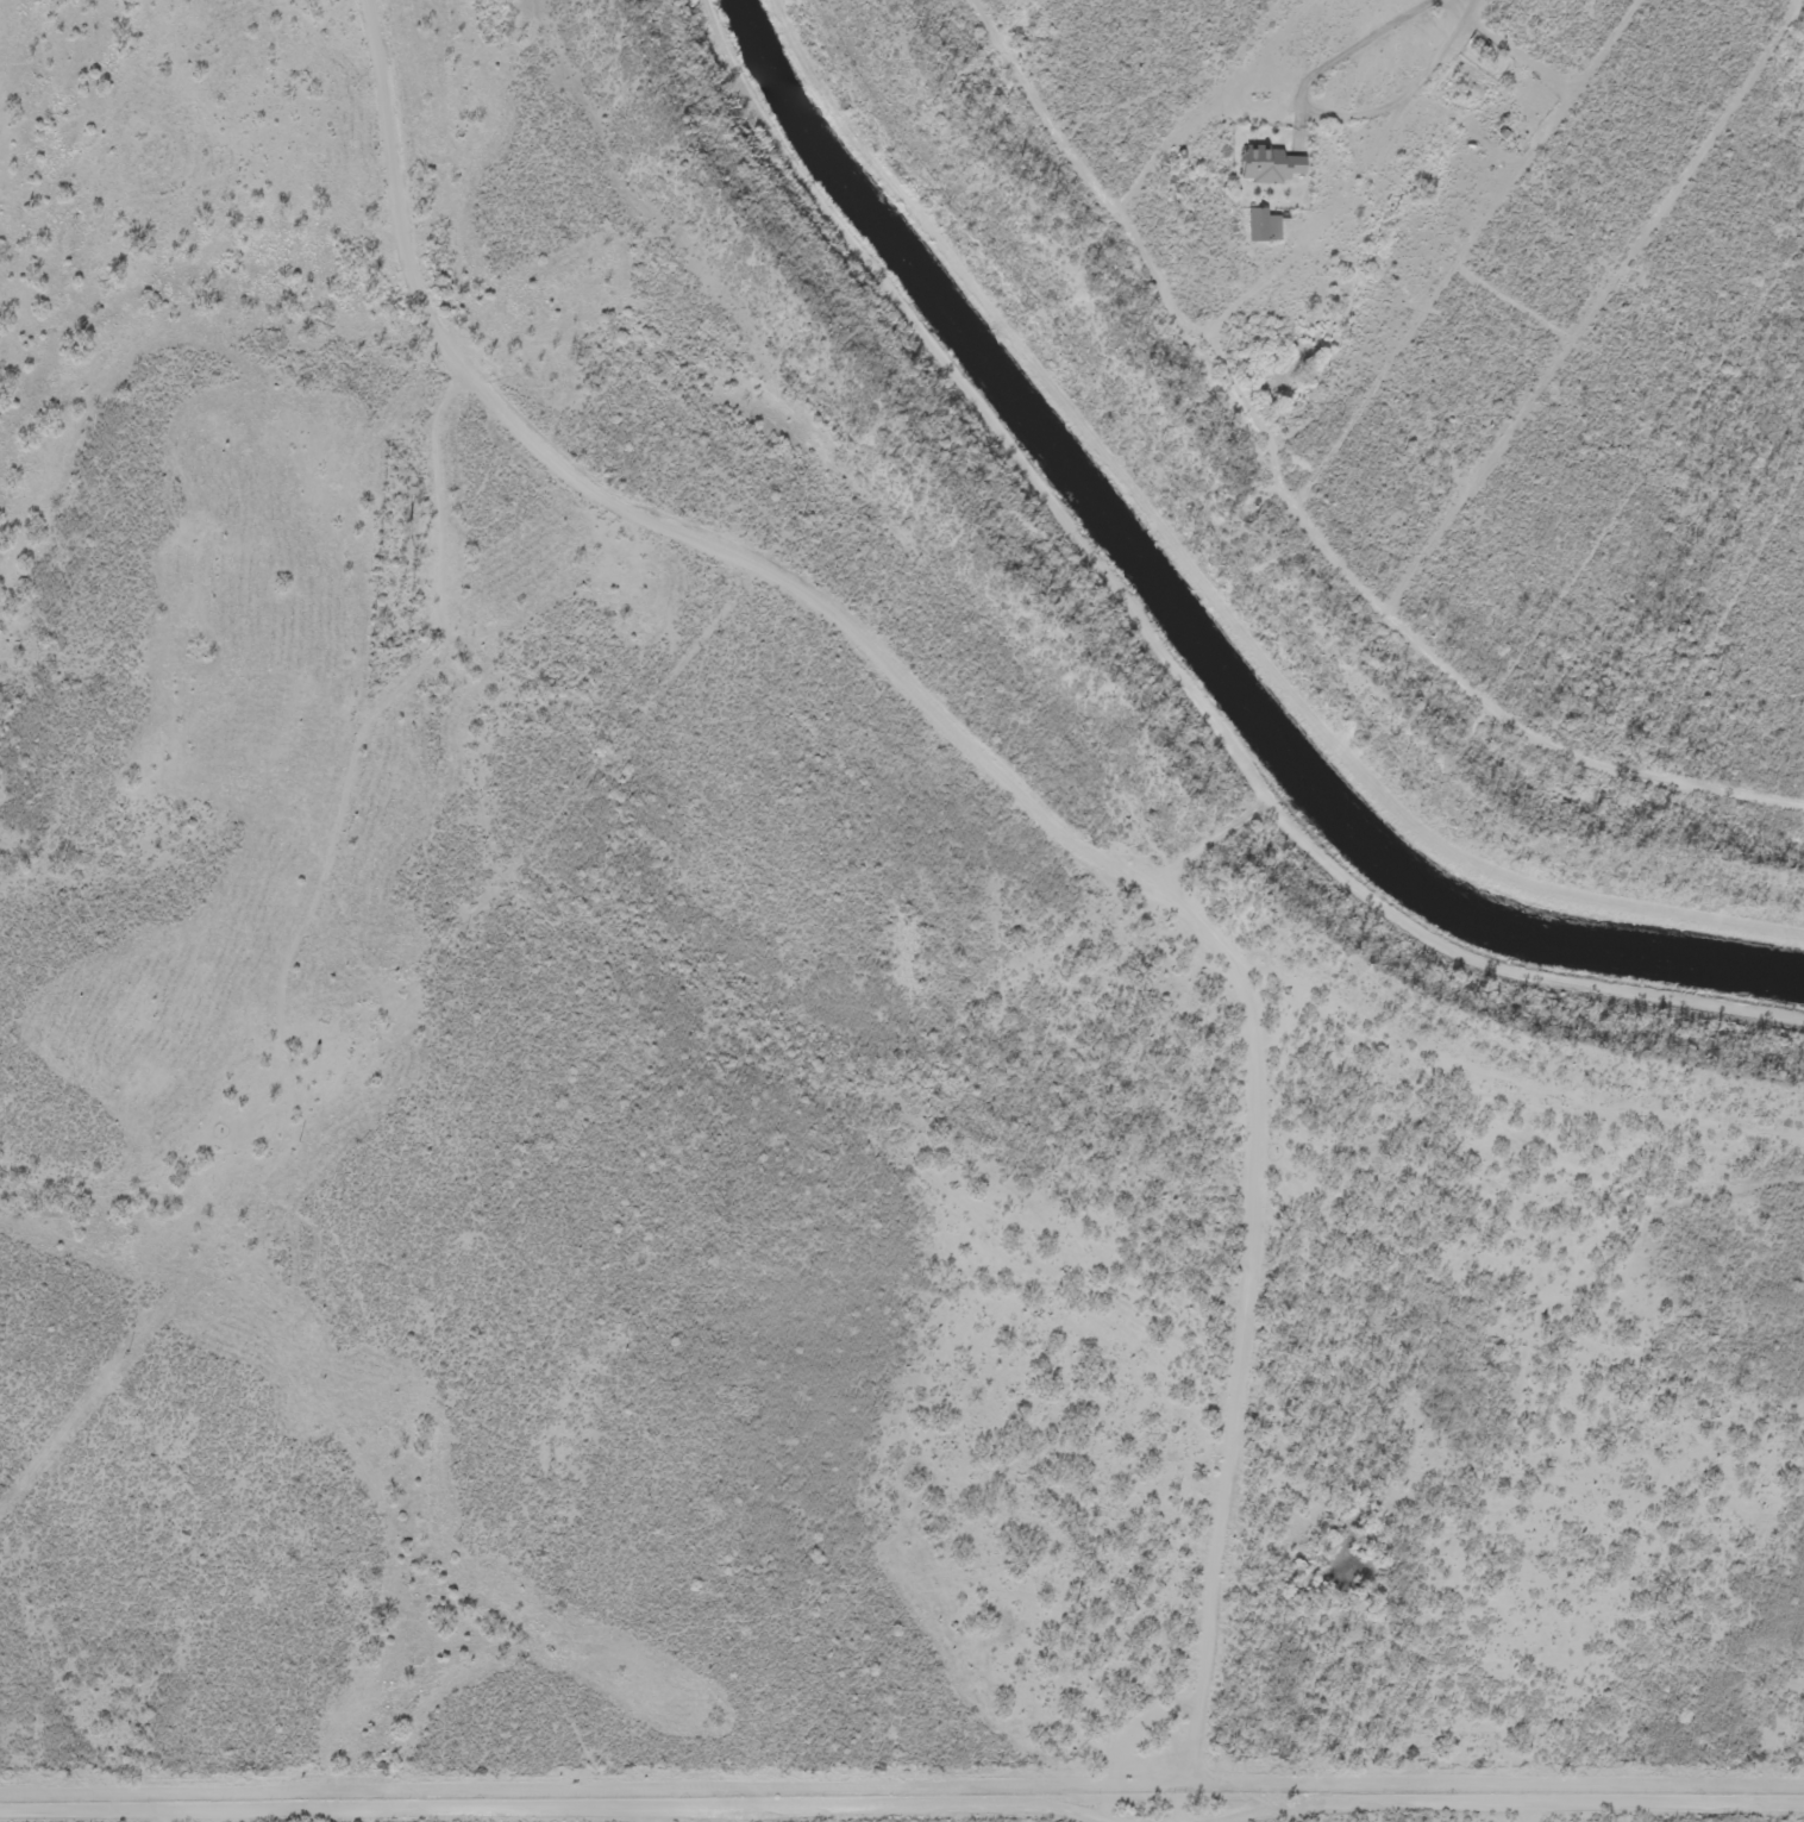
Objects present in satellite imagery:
road: (1248, 68)
building: (1266, 167)
building: (1259, 226)
road: (1303, 511)
road: (408, 599)
road: (977, 715)
road: (897, 1308)
road: (1210, 1557)
road: (1133, 1571)
road: (1164, 1572)

